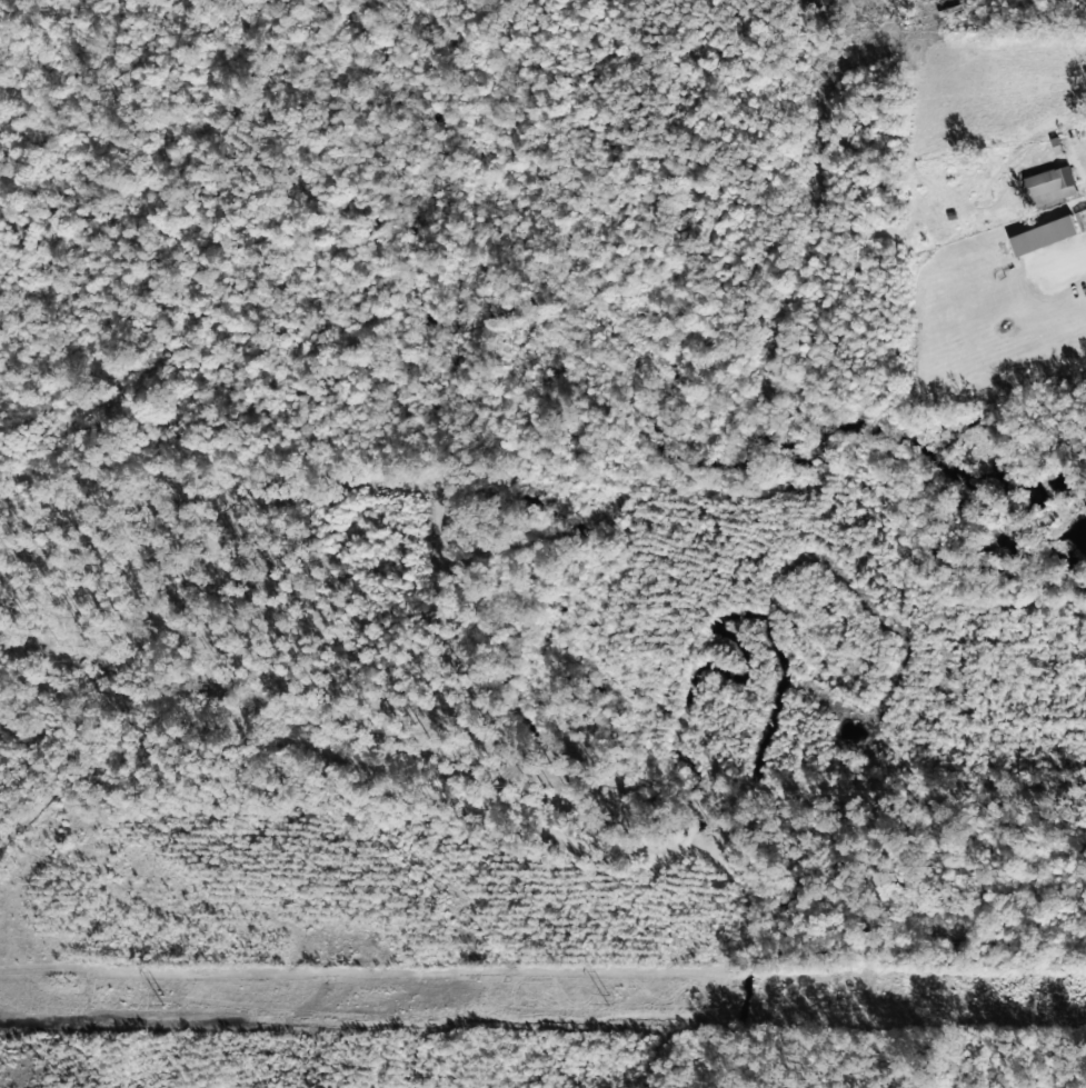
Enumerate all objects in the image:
building: (1049, 183)
building: (1082, 217)
building: (1043, 233)
power tower: (158, 1001)
power tower: (606, 1001)
power tower: (1043, 1001)

